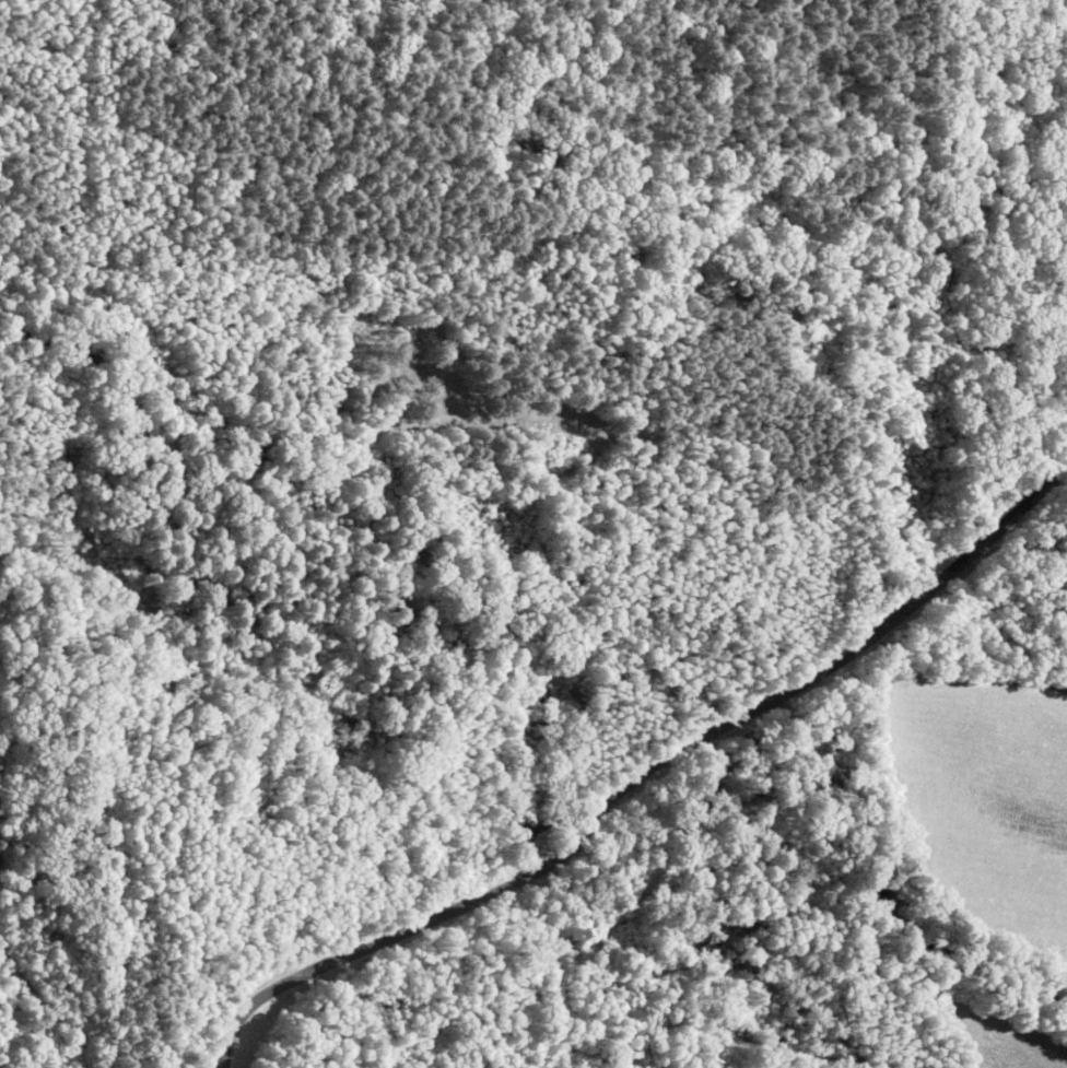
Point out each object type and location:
road: (925, 669)
road: (629, 723)

